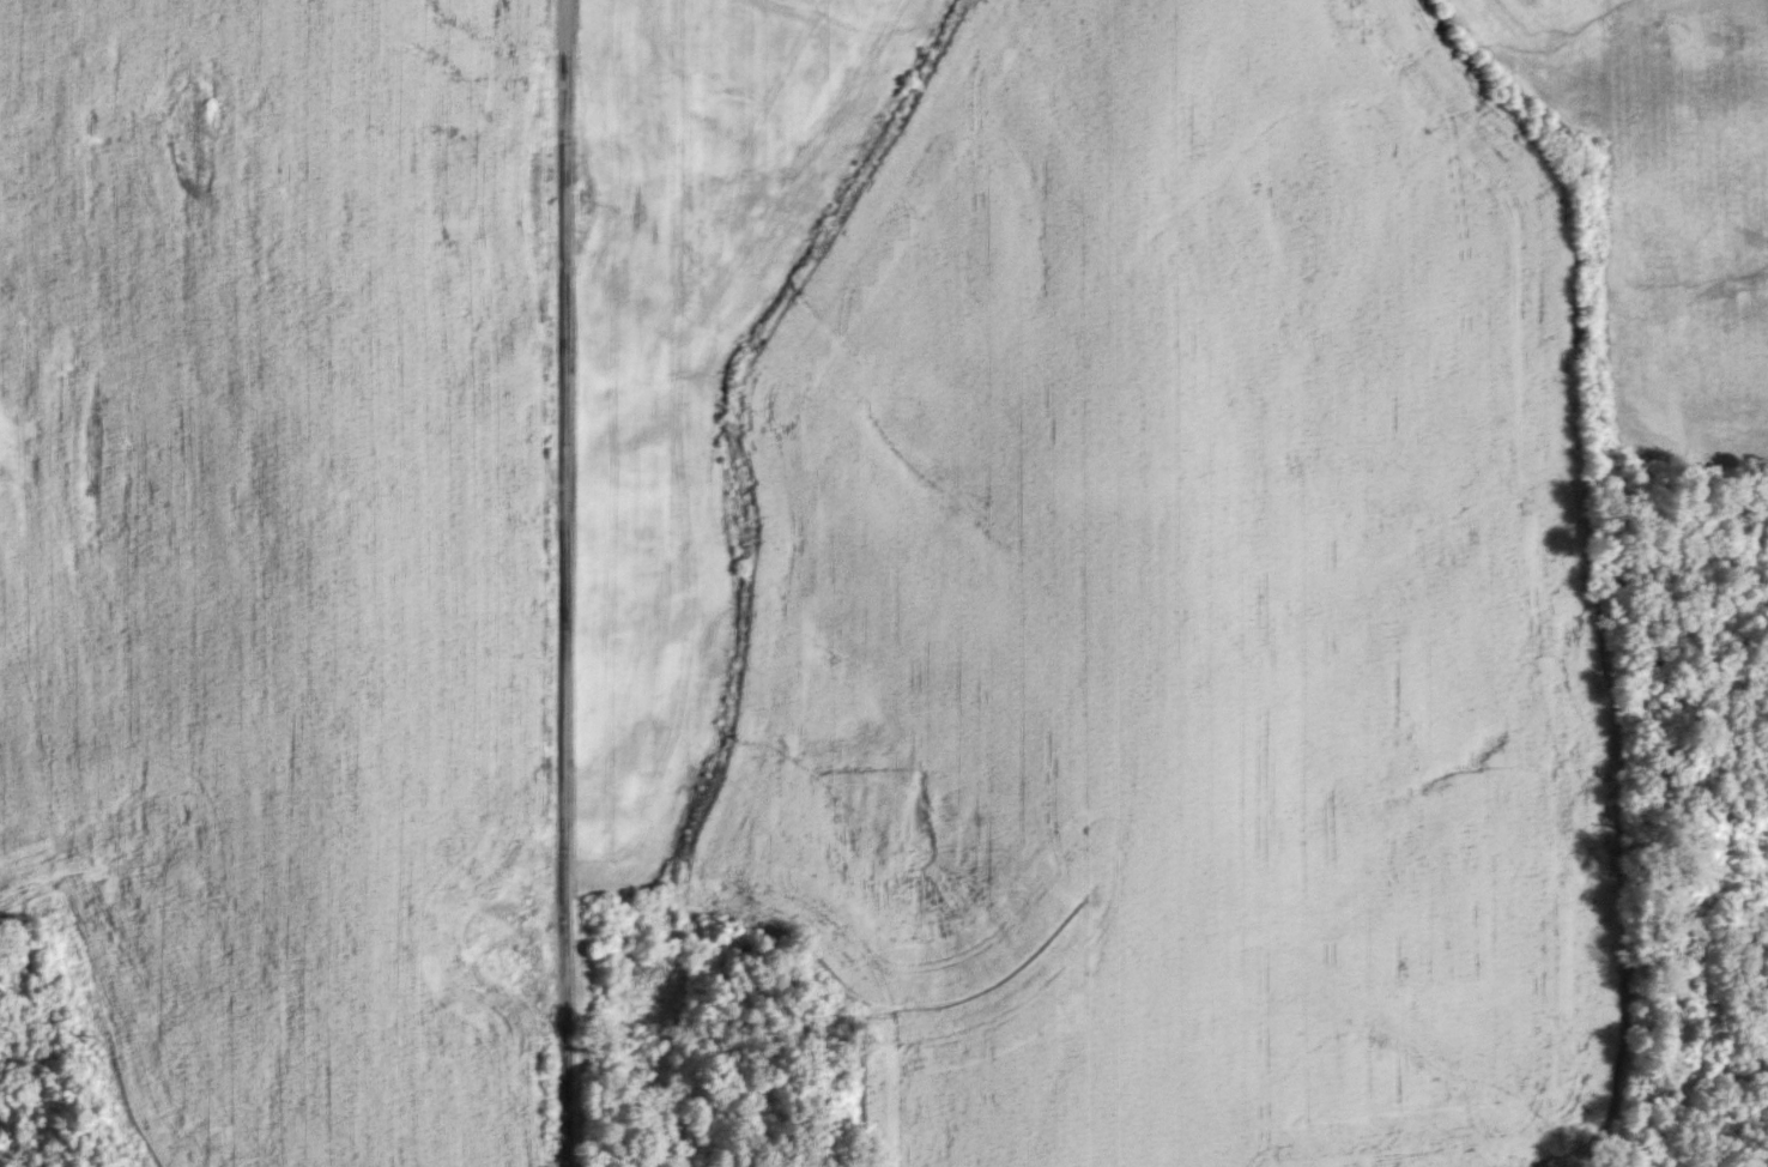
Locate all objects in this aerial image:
crop: (1121, 557)
crop: (290, 561)
road: (562, 583)

